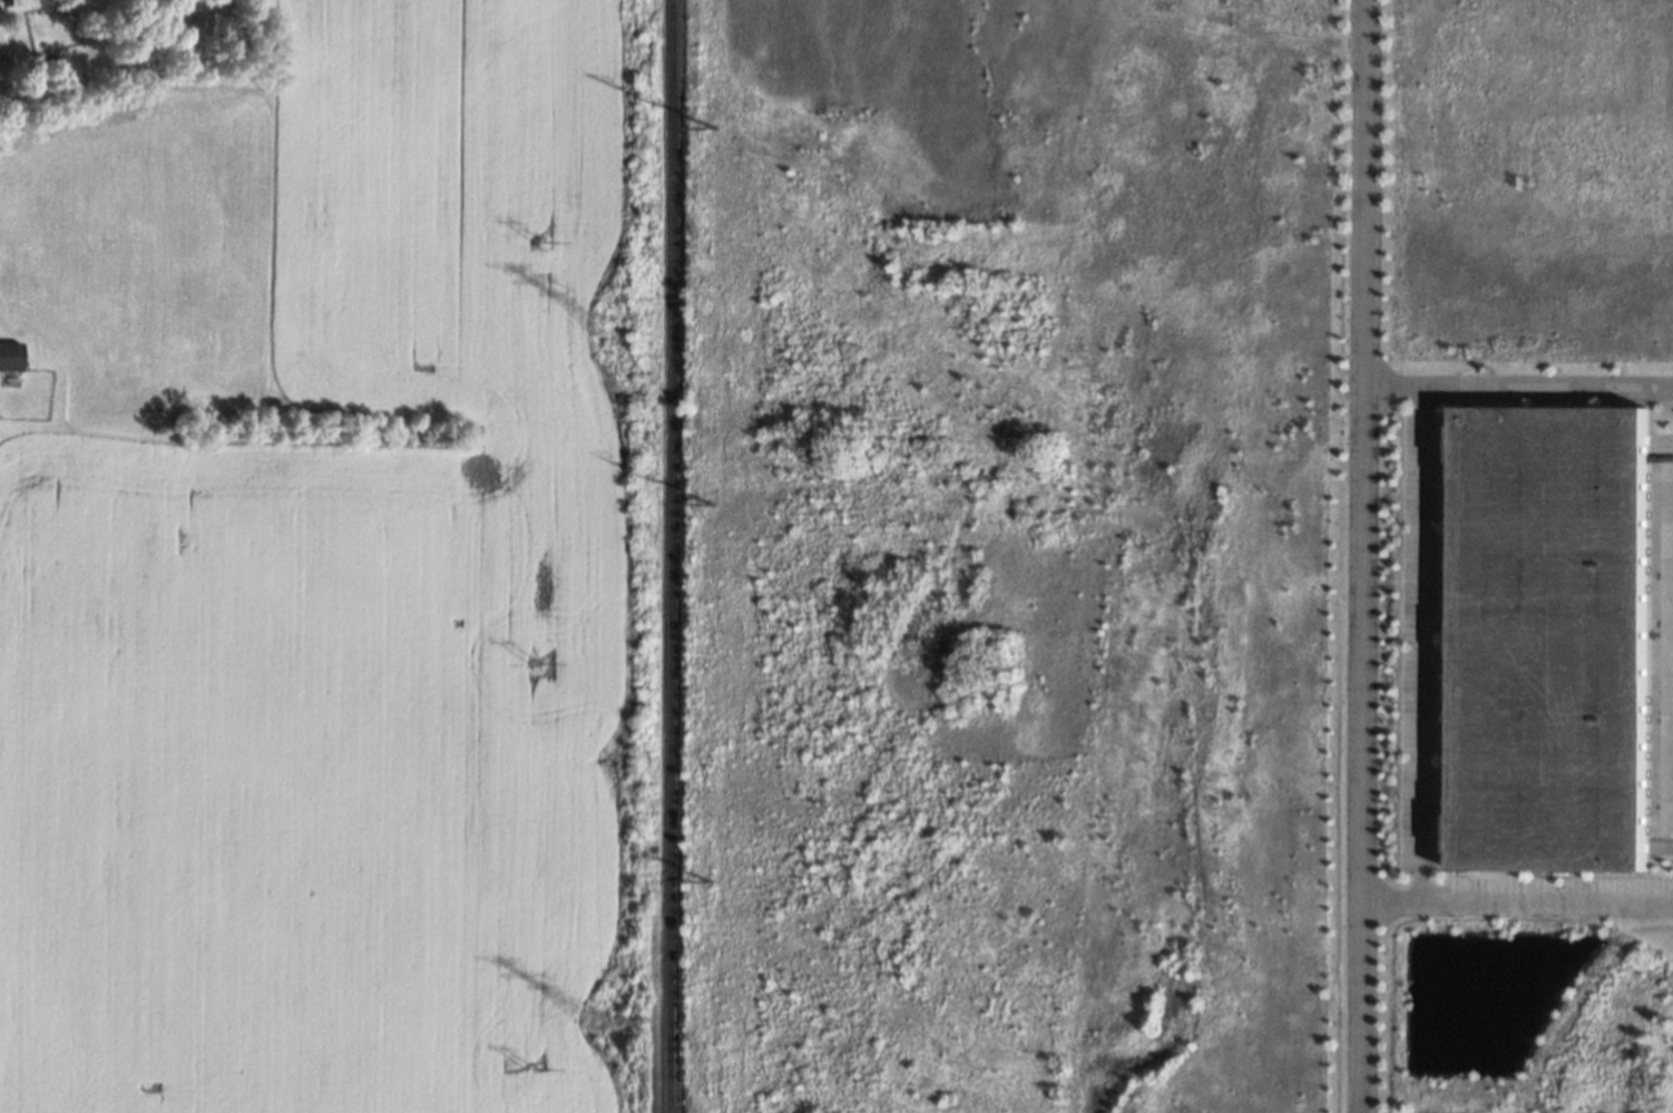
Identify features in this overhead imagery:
power tower: (712, 125)
power tower: (541, 240)
power tower: (609, 325)
building: (11, 355)
road: (1518, 384)
power tower: (712, 501)
railway: (663, 556)
road: (1362, 556)
building: (1556, 637)
road: (1425, 643)
power tower: (539, 662)
power tower: (708, 879)
road: (1516, 901)
power tower: (601, 1025)
power tower: (535, 1067)

